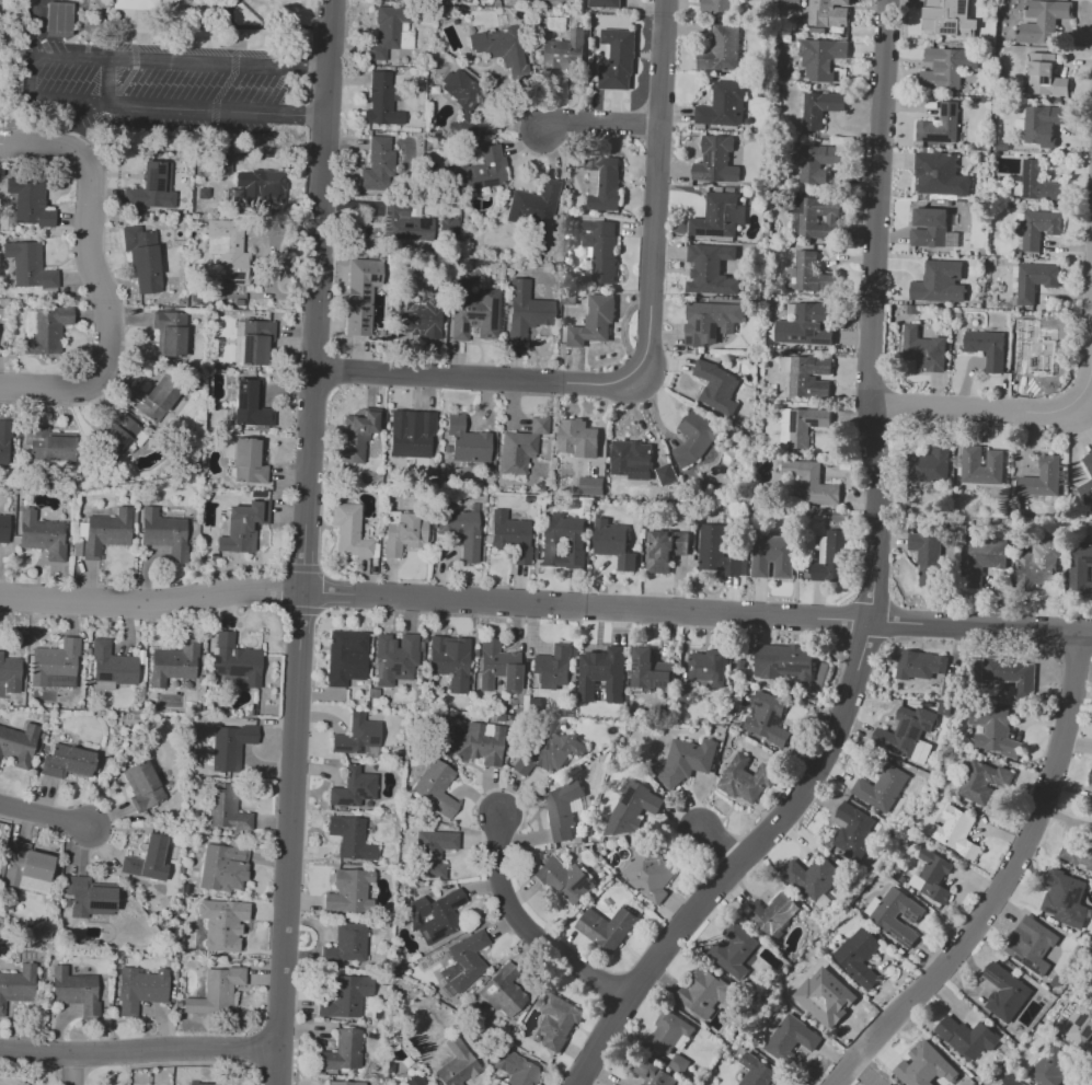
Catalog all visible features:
building: (841, 1)
rooftop solar panel: (126, 3)
building: (605, 3)
building: (792, 3)
building: (143, 4)
building: (717, 5)
building: (827, 13)
building: (57, 19)
rooftop solar panel: (58, 19)
building: (950, 19)
rooftop solar panel: (127, 21)
building: (1044, 21)
building: (384, 33)
rooftop solar panel: (129, 35)
building: (493, 46)
building: (721, 49)
building: (562, 56)
building: (820, 58)
building: (618, 59)
building: (946, 67)
building: (1045, 74)
road: (31, 78)
road: (107, 80)
road: (310, 81)
parking lot: (166, 82)
building: (381, 100)
building: (724, 105)
building: (468, 106)
building: (820, 108)
building: (1043, 123)
building: (940, 125)
road: (607, 128)
road: (80, 138)
rooftop solar panel: (713, 157)
building: (716, 161)
building: (818, 161)
building: (376, 164)
rooftop solar panel: (161, 169)
building: (479, 171)
rooftop solar panel: (703, 174)
building: (939, 174)
rooftop solar panel: (1028, 176)
rooftop solar panel: (150, 178)
rooftop solar panel: (159, 183)
building: (604, 183)
building: (1036, 183)
building: (268, 184)
building: (147, 187)
building: (203, 194)
building: (28, 204)
building: (531, 209)
building: (719, 216)
building: (820, 218)
building: (403, 223)
building: (448, 227)
building: (1039, 227)
building: (929, 228)
rooftop solar panel: (717, 231)
rooftop solar panel: (701, 232)
building: (229, 243)
building: (600, 247)
building: (140, 252)
road: (272, 262)
building: (706, 262)
building: (27, 267)
building: (812, 274)
road: (93, 275)
rooftop solar panel: (235, 276)
building: (939, 281)
building: (1032, 281)
building: (361, 298)
building: (525, 311)
rooftop solar panel: (493, 313)
building: (474, 315)
building: (419, 318)
building: (594, 321)
building: (711, 321)
building: (809, 325)
rooftop solar panel: (464, 327)
building: (47, 331)
rooftop solar panel: (813, 331)
building: (170, 333)
rooftop solar panel: (796, 336)
rooftop solar panel: (806, 336)
rooftop solar panel: (818, 339)
building: (255, 342)
rooftop solar panel: (826, 342)
building: (926, 349)
building: (988, 349)
building: (1032, 350)
road: (655, 353)
building: (809, 376)
building: (717, 386)
building: (153, 399)
building: (250, 404)
road: (998, 409)
building: (539, 425)
building: (806, 426)
building: (117, 431)
building: (411, 435)
building: (356, 436)
building: (697, 436)
rooftop solar panel: (114, 438)
building: (577, 438)
building: (467, 441)
building: (4, 442)
rooftop solar panel: (118, 445)
building: (60, 447)
building: (516, 452)
building: (632, 459)
building: (249, 461)
building: (1089, 462)
building: (932, 464)
building: (985, 465)
building: (666, 473)
building: (1044, 480)
building: (813, 483)
building: (591, 486)
rooftop solar panel: (589, 490)
building: (1085, 490)
building: (242, 527)
building: (4, 529)
building: (106, 532)
building: (349, 532)
building: (164, 533)
building: (405, 533)
building: (463, 533)
building: (42, 535)
building: (511, 536)
building: (564, 540)
road: (311, 542)
building: (613, 543)
building: (666, 550)
building: (715, 552)
building: (772, 556)
building: (831, 556)
building: (927, 557)
building: (982, 559)
building: (1039, 564)
building: (1081, 568)
road: (878, 588)
road: (545, 612)
building: (395, 658)
building: (235, 659)
building: (348, 660)
building: (789, 661)
building: (113, 665)
rooftop solar panel: (630, 665)
building: (709, 665)
building: (916, 666)
building: (451, 667)
building: (498, 668)
building: (174, 669)
rooftop solar panel: (377, 669)
building: (61, 670)
rooftop solar panel: (392, 670)
building: (552, 670)
building: (650, 670)
rooftop solar panel: (791, 670)
building: (1018, 672)
building: (602, 673)
building: (10, 676)
rooftop solar panel: (102, 678)
rooftop solar panel: (60, 681)
rooftop solar panel: (662, 683)
rooftop solar panel: (760, 705)
building: (944, 708)
building: (766, 714)
rooftop solar panel: (775, 717)
building: (907, 731)
building: (995, 732)
building: (356, 737)
rooftop solar panel: (370, 741)
building: (474, 742)
building: (18, 745)
building: (231, 747)
rooftop solar panel: (337, 748)
rooftop solar panel: (356, 748)
building: (548, 753)
building: (688, 761)
building: (68, 762)
building: (1090, 777)
building: (746, 780)
building: (1090, 784)
building: (979, 785)
building: (142, 786)
building: (881, 786)
building: (436, 789)
building: (355, 790)
rooftop solar panel: (623, 796)
building: (632, 807)
building: (226, 808)
building: (564, 810)
road: (46, 817)
building: (956, 831)
building: (354, 835)
building: (852, 843)
road: (723, 849)
building: (1078, 853)
building: (435, 855)
building: (147, 858)
building: (934, 864)
building: (226, 869)
building: (27, 870)
building: (651, 874)
building: (813, 877)
building: (565, 880)
road: (1009, 882)
building: (350, 891)
building: (1066, 898)
building: (89, 899)
rooftop solar panel: (457, 902)
building: (1091, 912)
building: (773, 914)
building: (438, 916)
rooftop solar panel: (908, 916)
rooftop solar panel: (913, 919)
building: (887, 921)
building: (222, 924)
building: (608, 928)
rooftop solar panel: (435, 935)
road: (532, 936)
building: (350, 943)
rooftop solar panel: (900, 943)
building: (1033, 946)
building: (734, 947)
building: (860, 957)
rooftop solar panel: (1014, 957)
building: (462, 963)
rooftop solar panel: (1026, 965)
rooftop solar panel: (991, 977)
building: (16, 985)
building: (73, 988)
building: (141, 989)
building: (216, 990)
building: (1004, 992)
building: (504, 993)
building: (705, 995)
building: (344, 997)
building: (827, 1000)
rooftop solar panel: (1081, 1019)
building: (1083, 1020)
building: (556, 1023)
rooftop solar panel: (1089, 1031)
building: (674, 1038)
building: (969, 1038)
building: (791, 1039)
building: (343, 1053)
road: (143, 1057)
building: (457, 1064)
building: (927, 1067)
building: (1053, 1067)
building: (515, 1069)
building: (759, 1072)
road: (81, 1073)
building: (654, 1075)
building: (415, 1080)
building: (1013, 1081)
building: (337, 1083)
building: (202, 1084)

